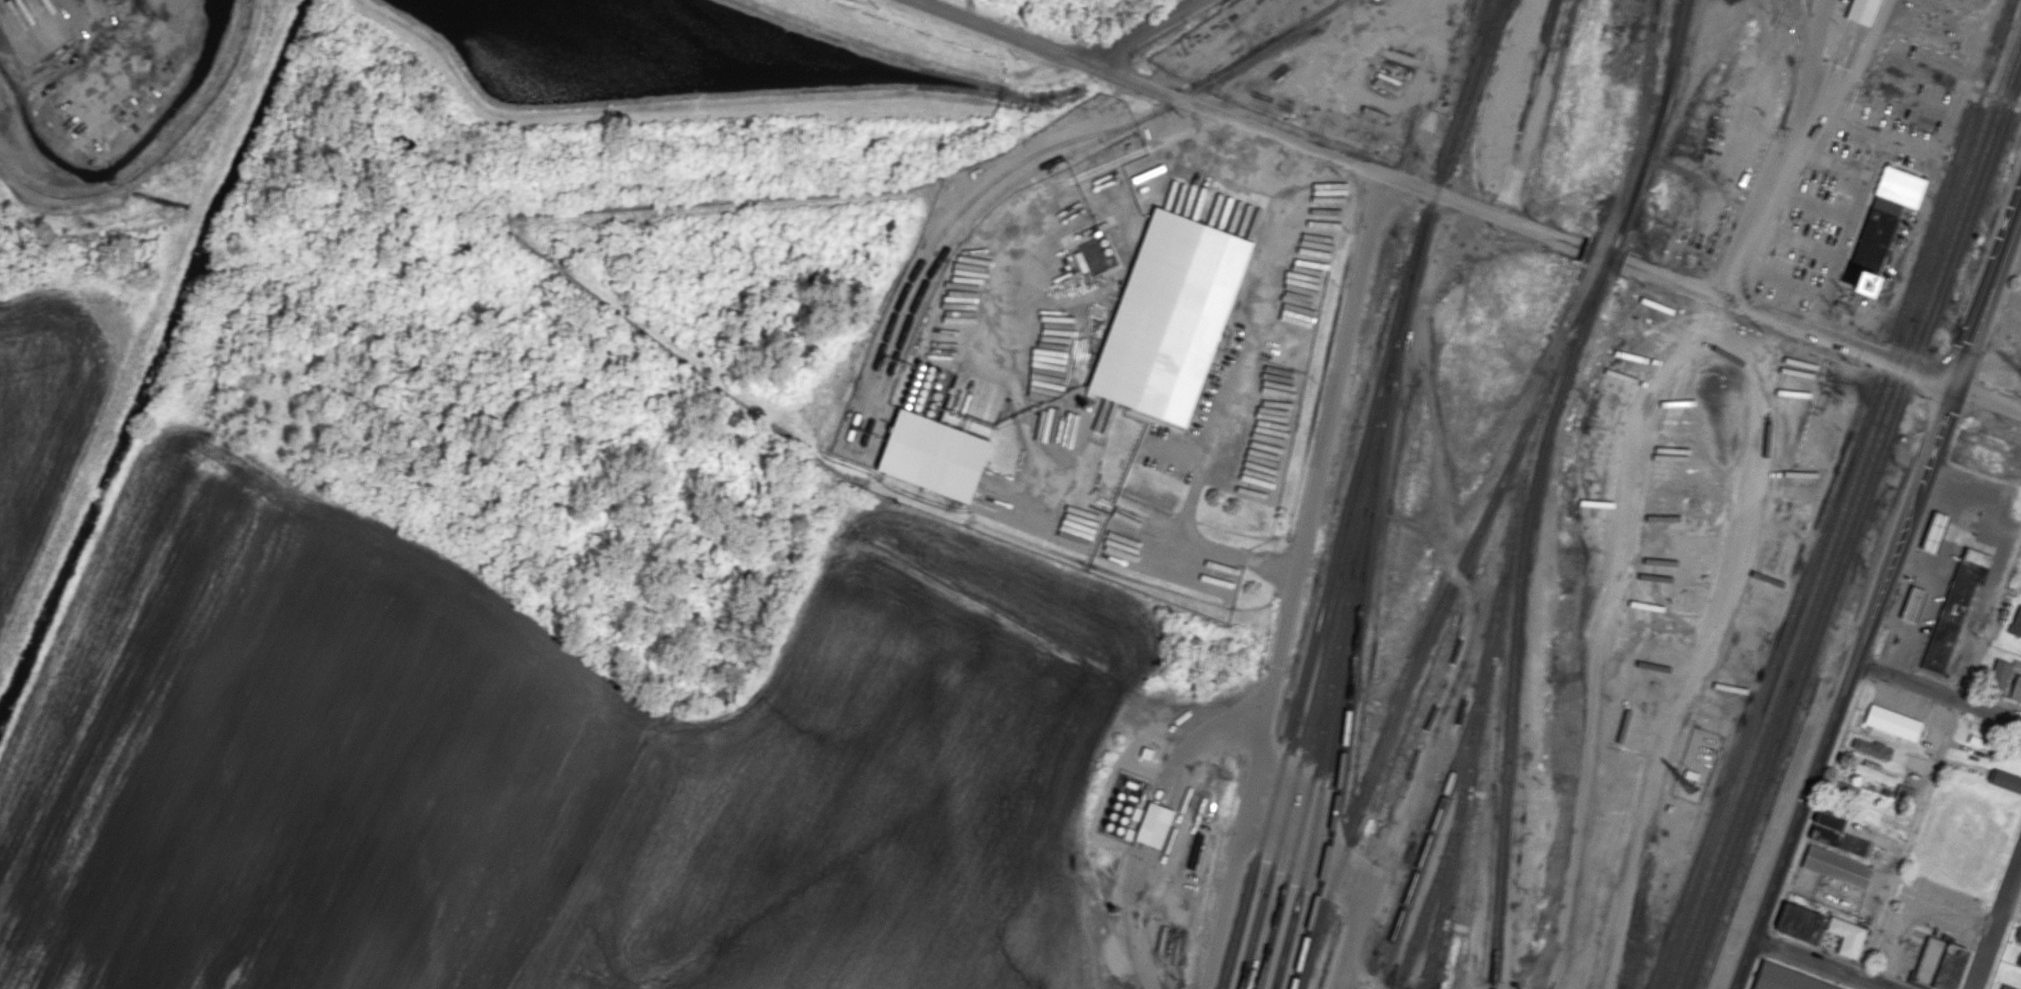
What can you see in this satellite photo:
building: (1862, 11)
railway: (2009, 15)
road: (1145, 31)
road: (1813, 50)
road: (1148, 85)
railway: (1206, 85)
road: (1855, 125)
railway: (1655, 132)
road: (1896, 141)
building: (1900, 186)
building: (1887, 205)
road: (1481, 211)
railway: (1967, 223)
railway: (939, 236)
building: (1872, 249)
railway: (928, 277)
road: (1987, 292)
road: (1727, 293)
road: (1817, 313)
building: (1169, 316)
road: (1787, 325)
road: (1987, 395)
building: (1105, 415)
crop: (49, 419)
building: (933, 455)
building: (1984, 461)
building: (2014, 474)
railway: (1355, 491)
railway: (1837, 495)
railway: (1844, 507)
railway: (1849, 521)
building: (1932, 532)
gas station: (1932, 532)
road: (1239, 554)
building: (1911, 604)
gas station: (1911, 604)
building: (1955, 607)
railway: (1496, 618)
railway: (1517, 618)
building: (2016, 622)
road: (1277, 639)
railway: (1356, 641)
railway: (1419, 657)
building: (2000, 674)
railway: (1800, 680)
road: (1843, 685)
building: (2016, 689)
road: (1936, 692)
railway: (1327, 707)
road: (1942, 709)
building: (1893, 722)
building: (1987, 745)
building: (1872, 749)
road: (1938, 760)
building: (1917, 762)
railway: (1299, 765)
crop: (551, 768)
building: (1873, 771)
railway: (1324, 774)
building: (2004, 780)
building: (1841, 790)
building: (1903, 793)
road: (1817, 806)
building: (1830, 820)
building: (1154, 824)
railway: (1430, 832)
building: (1843, 841)
parking lot: (1762, 852)
building: (1835, 867)
railway: (1431, 899)
building: (1801, 922)
road: (1997, 924)
building: (2018, 934)
building: (1847, 936)
road: (1766, 943)
road: (1812, 946)
building: (1927, 960)
building: (2020, 962)
road: (1821, 963)
road: (1861, 963)
railway: (1429, 967)
building: (1947, 967)
road: (1874, 969)
road: (1803, 972)
road: (1755, 973)
road: (1890, 974)
building: (1785, 979)
road: (1855, 983)
road: (1915, 983)
building: (2005, 987)
road: (1847, 988)

